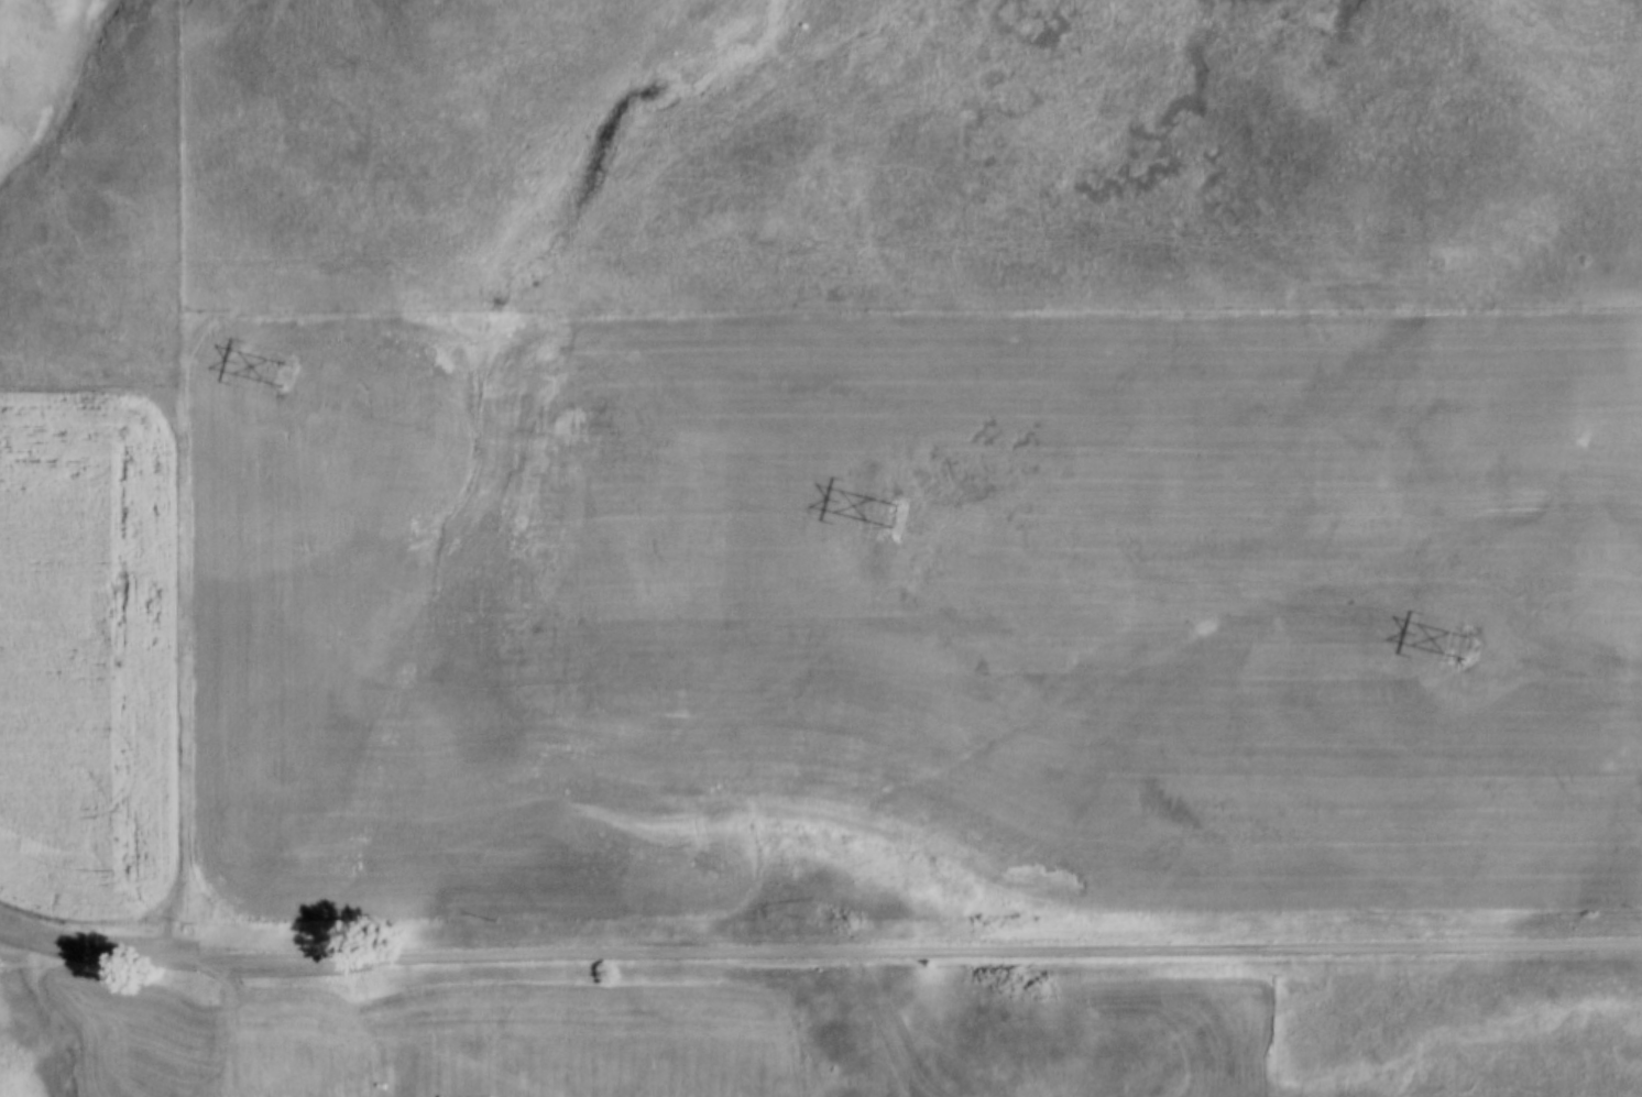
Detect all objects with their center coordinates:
road: (819, 953)

